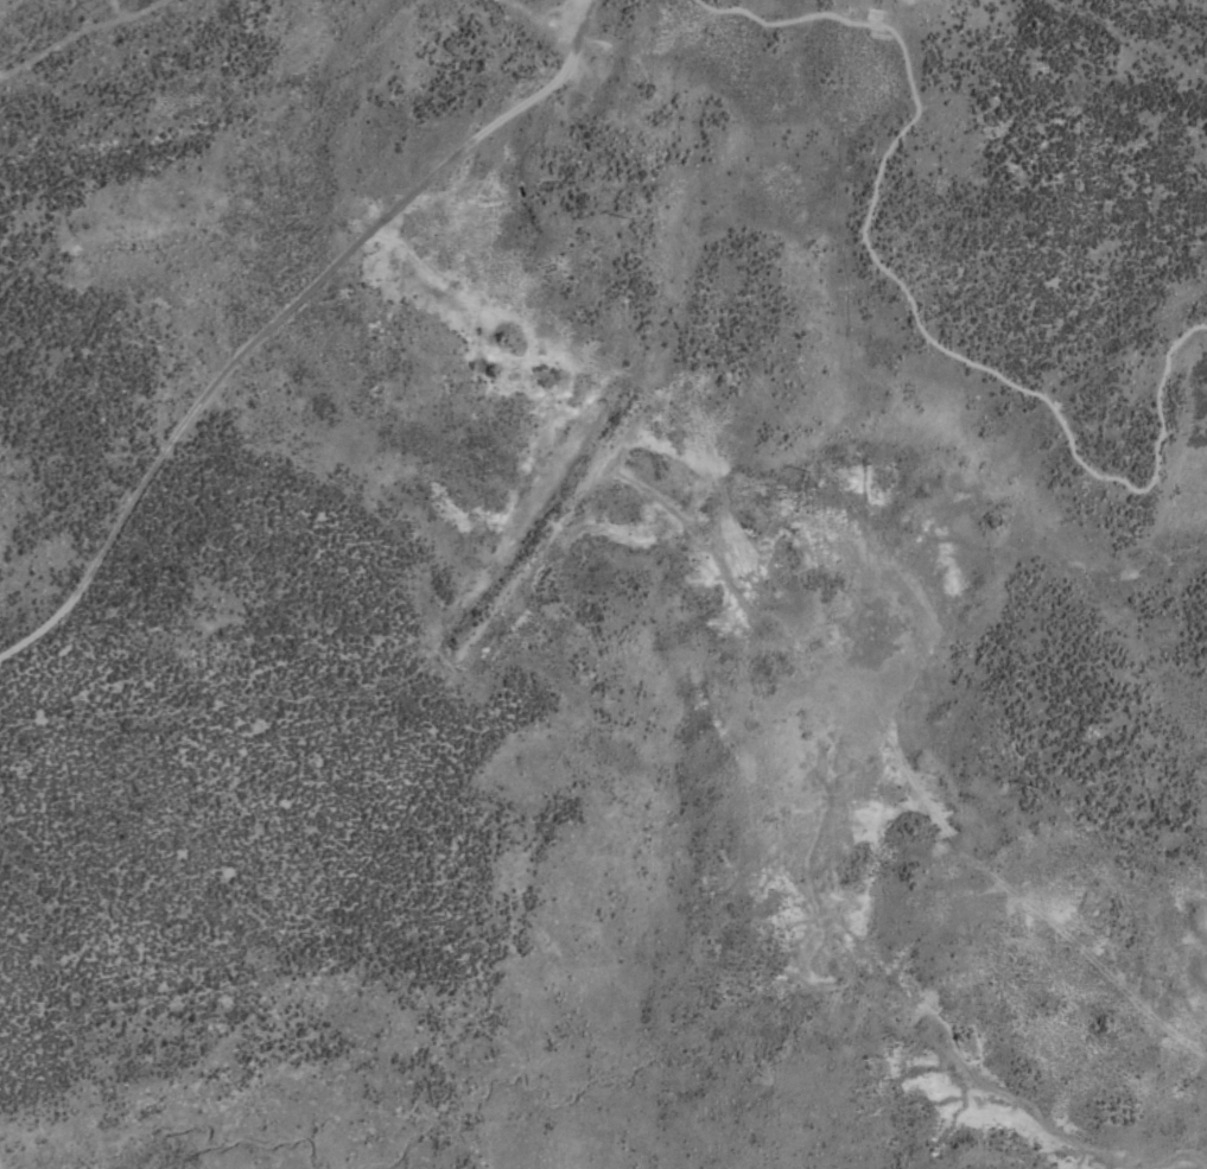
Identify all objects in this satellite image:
road: (281, 312)
crop: (603, 584)

